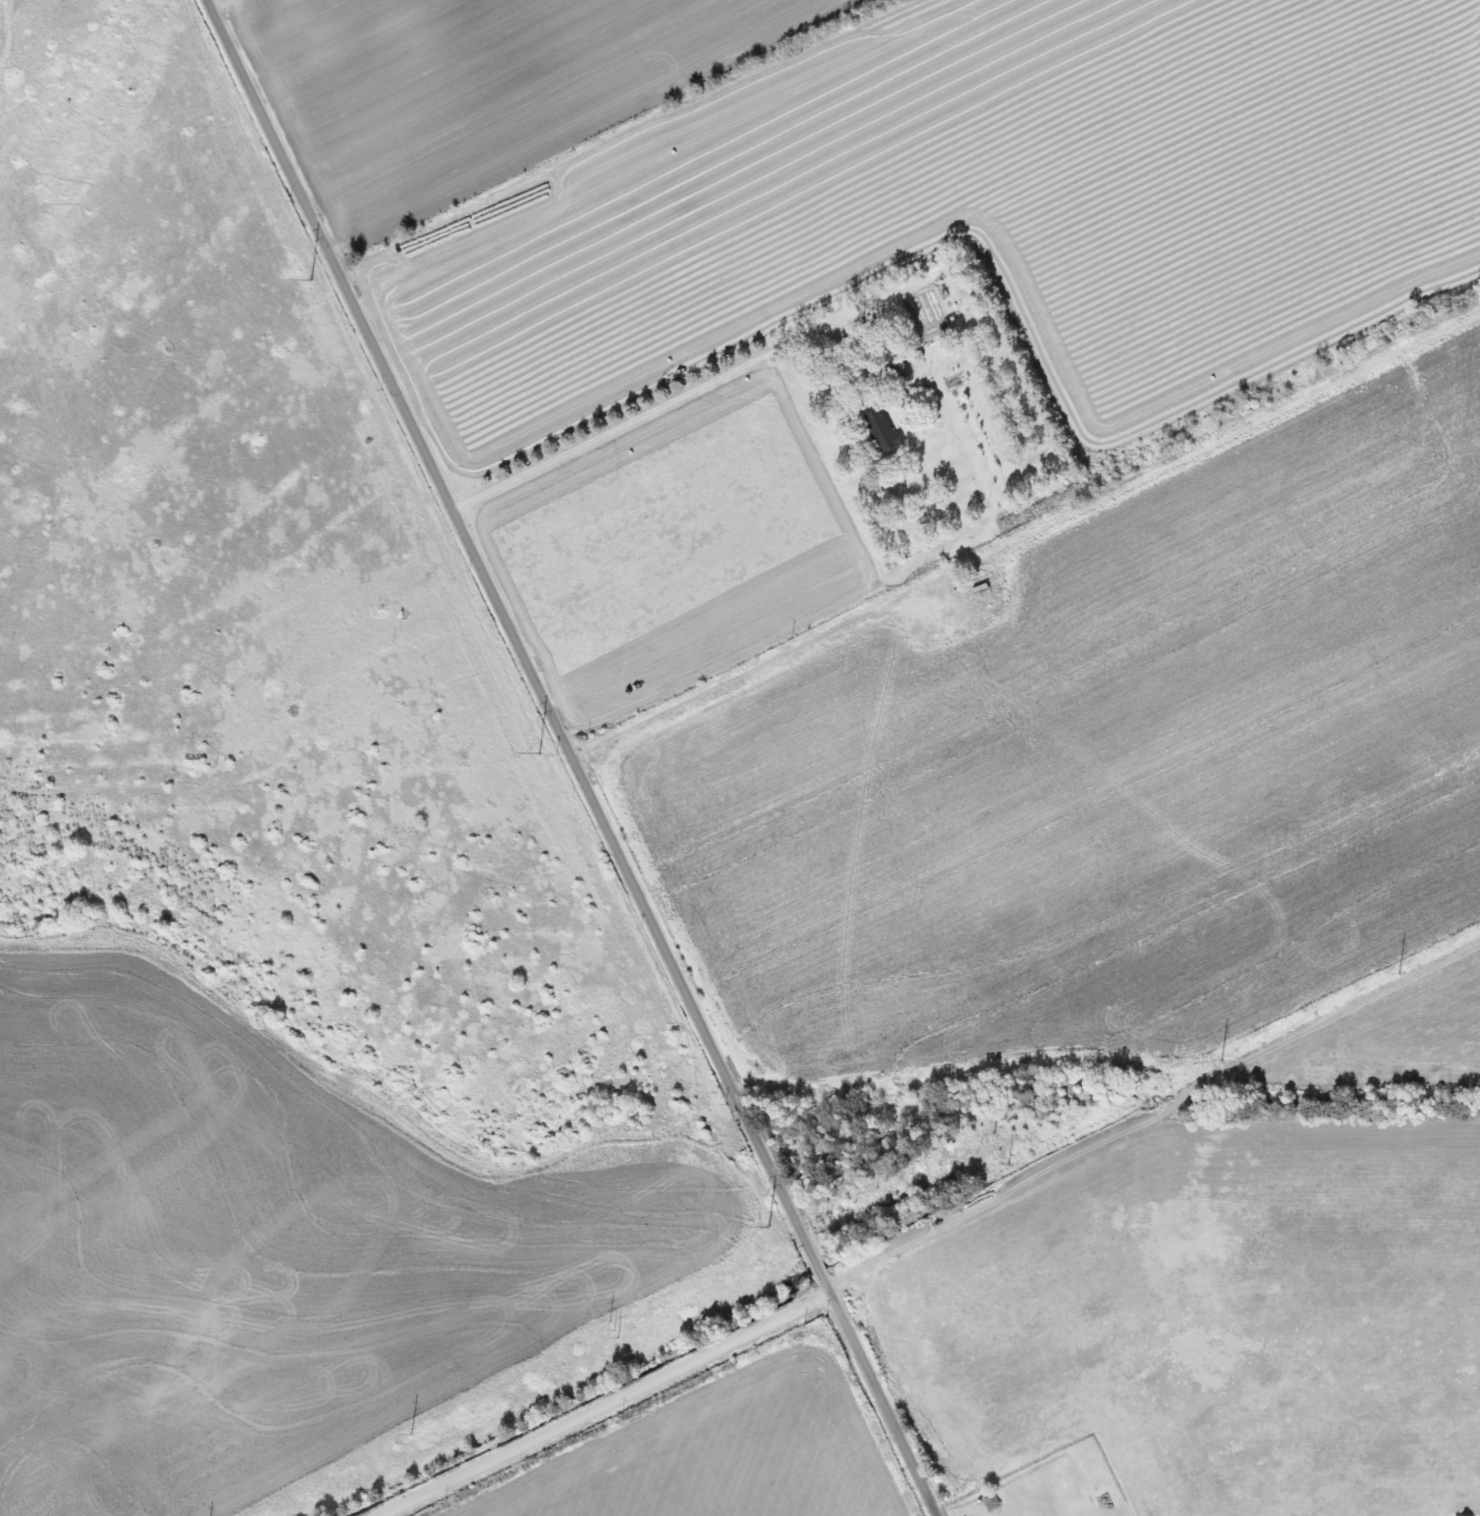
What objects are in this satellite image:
power tower: (308, 279)
building: (892, 368)
road: (645, 414)
building: (875, 430)
power tower: (538, 753)
road: (574, 758)
power tower: (766, 1227)
road: (606, 1406)
road: (1007, 1477)

